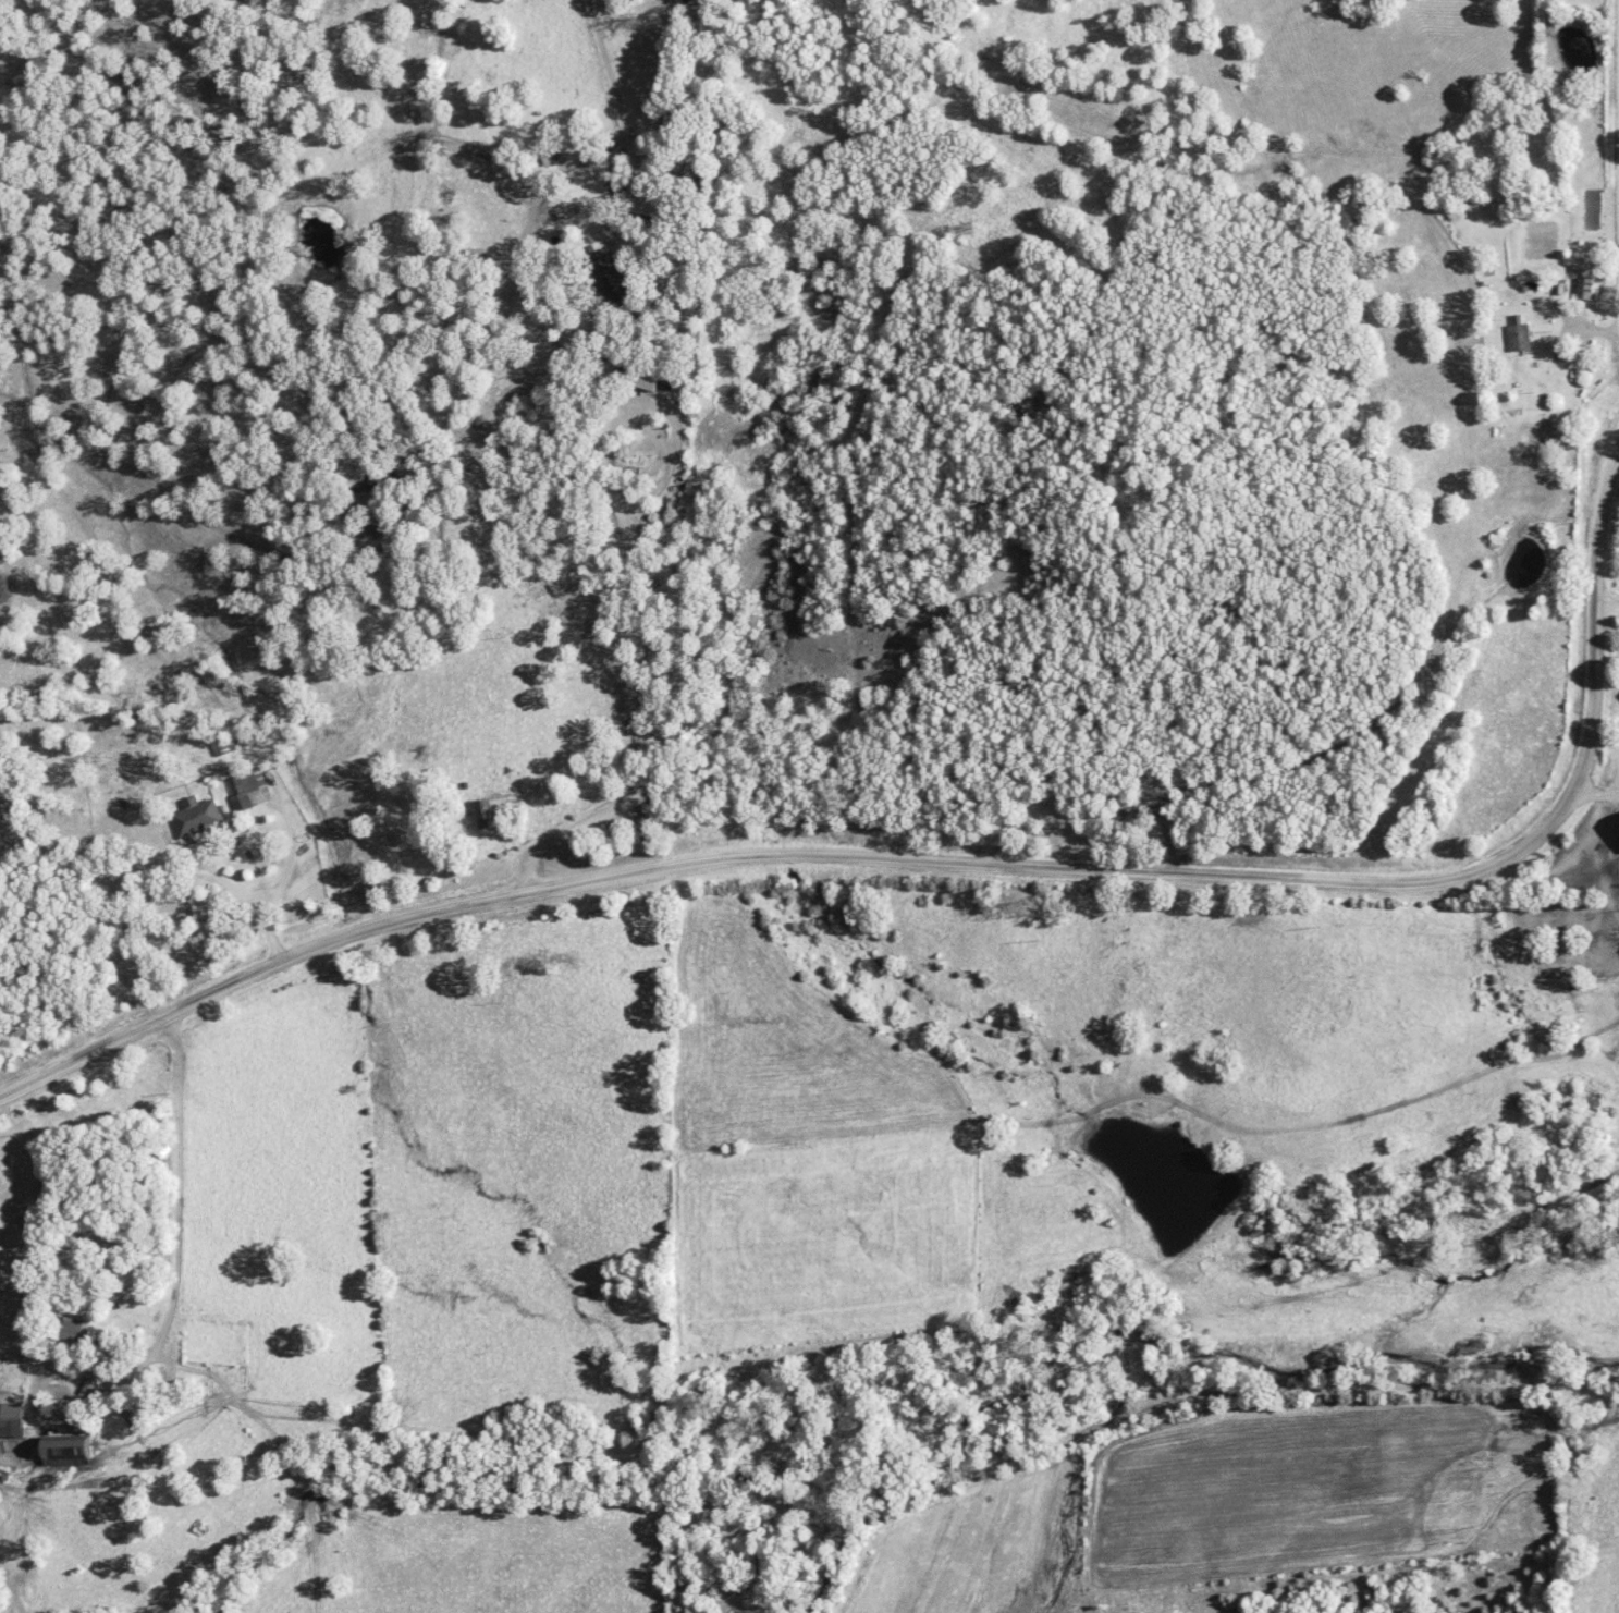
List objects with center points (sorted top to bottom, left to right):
building: (1585, 289)
road: (1596, 320)
building: (1520, 335)
building: (647, 381)
road: (1610, 603)
road: (655, 634)
building: (224, 746)
road: (1598, 787)
building: (246, 789)
building: (487, 815)
building: (197, 818)
road: (957, 858)
road: (262, 884)
road: (182, 1141)
building: (72, 1331)
road: (88, 1339)
building: (11, 1421)
building: (66, 1452)

